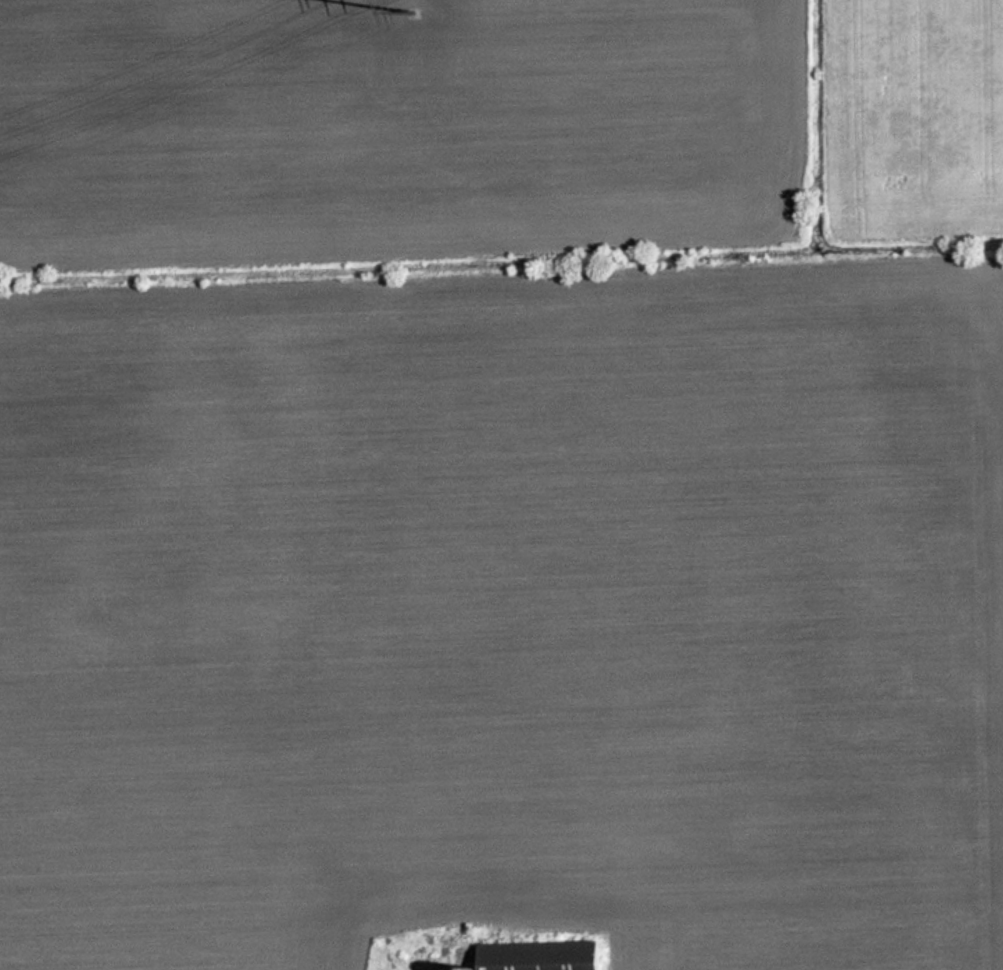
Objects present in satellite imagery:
power tower: (417, 11)
building: (548, 956)

